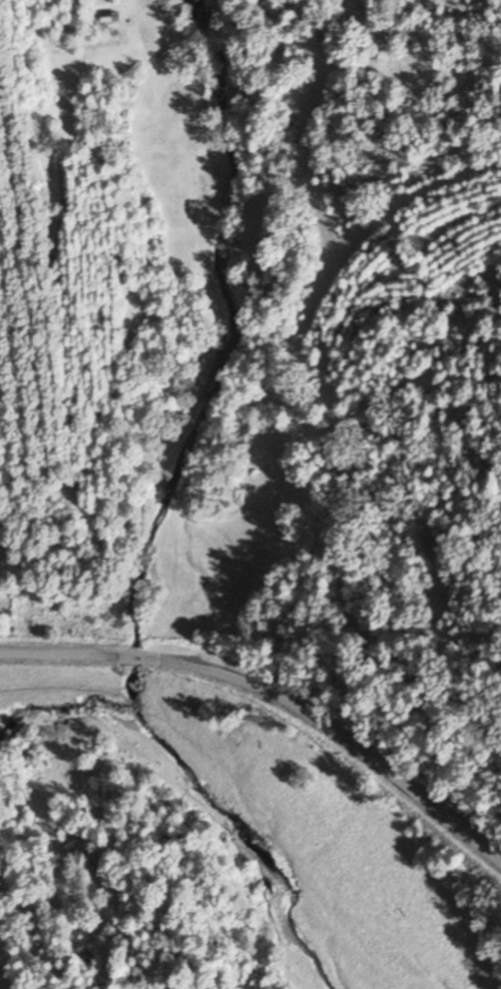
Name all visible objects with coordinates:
road: (275, 697)

